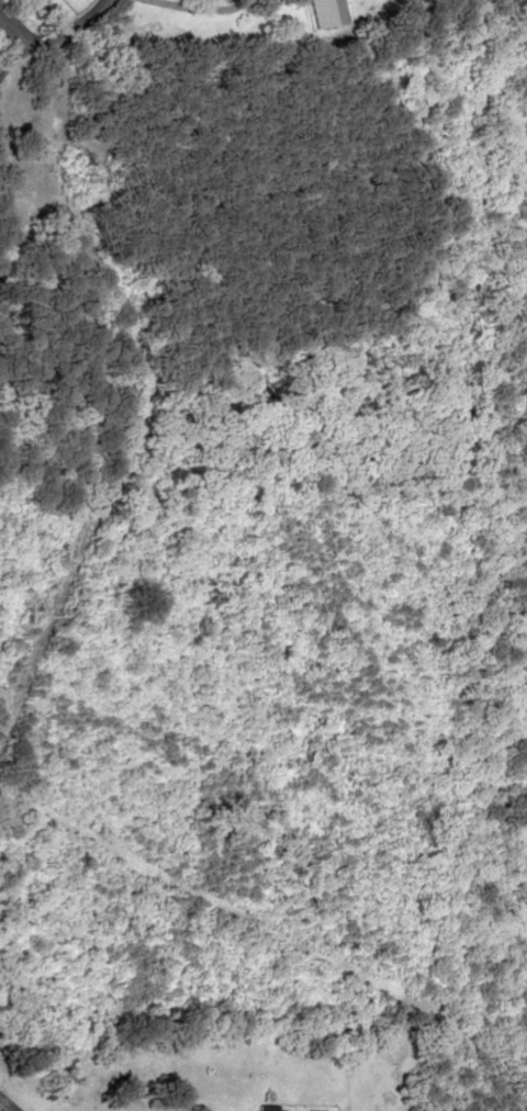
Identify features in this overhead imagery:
building: (325, 12)
road: (49, 38)
road: (1, 216)
road: (7, 1104)
building: (266, 1107)

